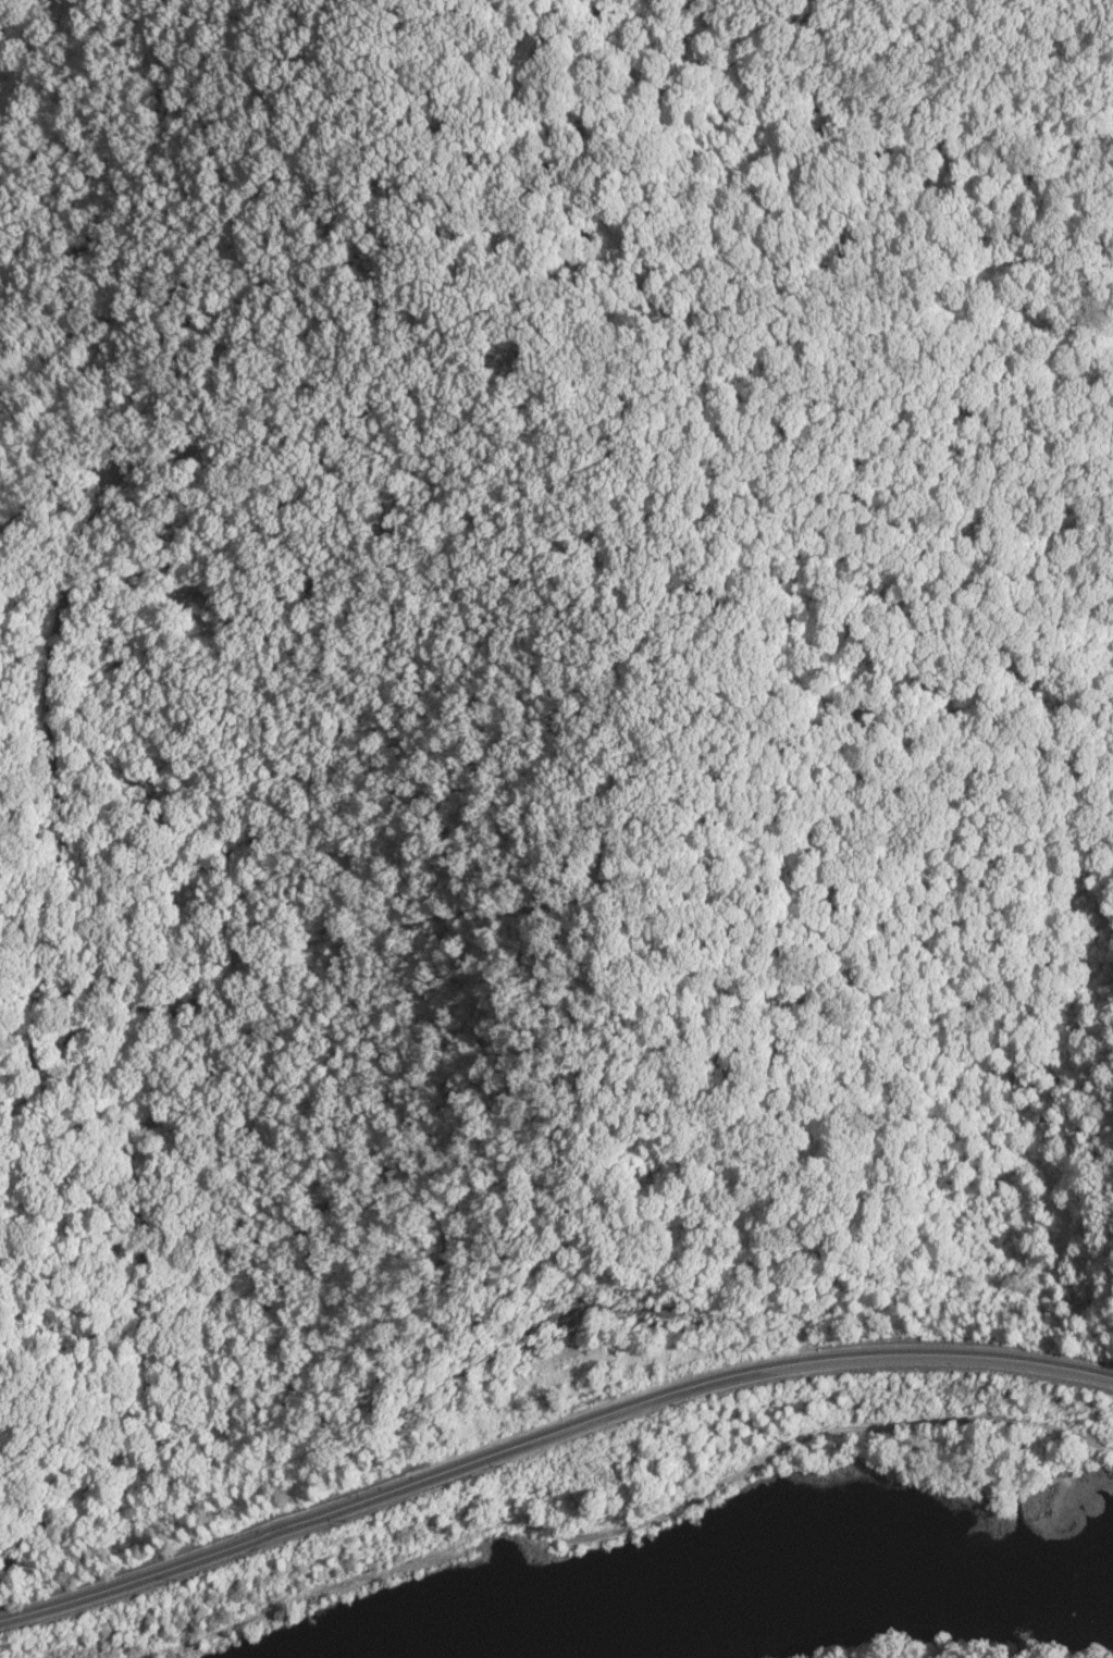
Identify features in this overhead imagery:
road: (547, 1434)

